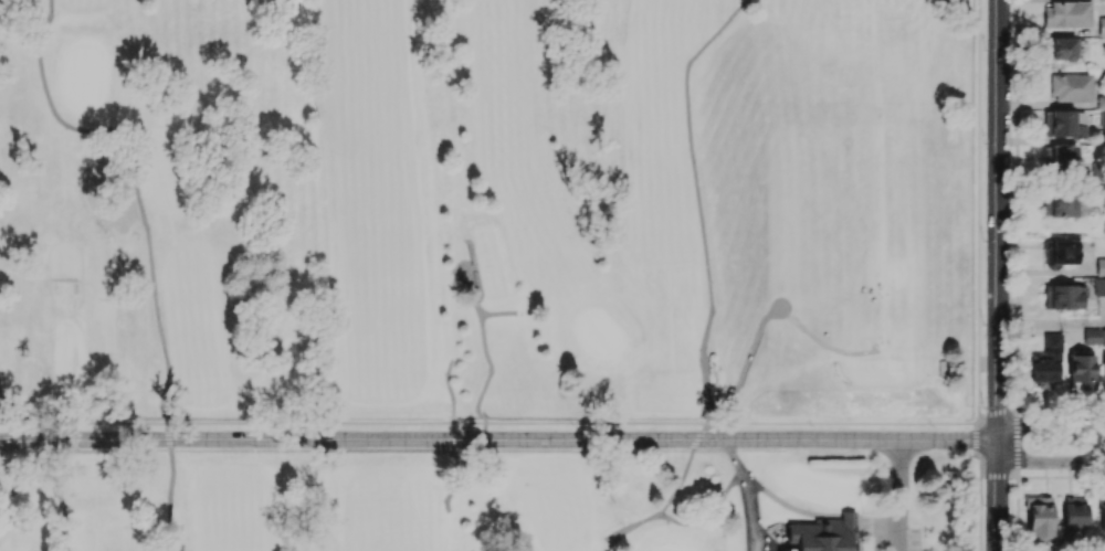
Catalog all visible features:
building: (1101, 0)
building: (1066, 13)
building: (1101, 25)
building: (1060, 49)
park: (83, 76)
building: (1071, 87)
building: (1101, 102)
building: (1102, 118)
building: (1059, 123)
building: (1080, 131)
building: (1060, 158)
road: (134, 177)
road: (696, 201)
building: (1060, 204)
park: (487, 209)
road: (979, 211)
road: (1000, 220)
building: (1061, 252)
building: (1099, 266)
road: (471, 283)
building: (1099, 286)
building: (1064, 296)
road: (498, 314)
road: (1052, 325)
park: (598, 331)
building: (1094, 336)
road: (821, 341)
building: (1045, 362)
road: (746, 365)
building: (941, 367)
building: (1104, 369)
road: (491, 371)
building: (1081, 372)
road: (1, 385)
road: (1017, 407)
road: (993, 411)
road: (1050, 423)
road: (487, 424)
road: (976, 425)
road: (166, 431)
road: (704, 432)
road: (718, 432)
road: (453, 437)
road: (499, 439)
road: (976, 439)
road: (1018, 441)
road: (1049, 462)
road: (994, 475)
road: (1015, 475)
road: (56, 484)
park: (819, 485)
road: (170, 490)
road: (767, 495)
road: (901, 495)
road: (999, 495)
road: (980, 499)
park: (488, 501)
road: (666, 505)
building: (1074, 512)
road: (753, 515)
road: (708, 516)
building: (1039, 517)
building: (1102, 517)
road: (886, 531)
parking lot: (893, 532)
building: (823, 534)
park: (673, 549)

